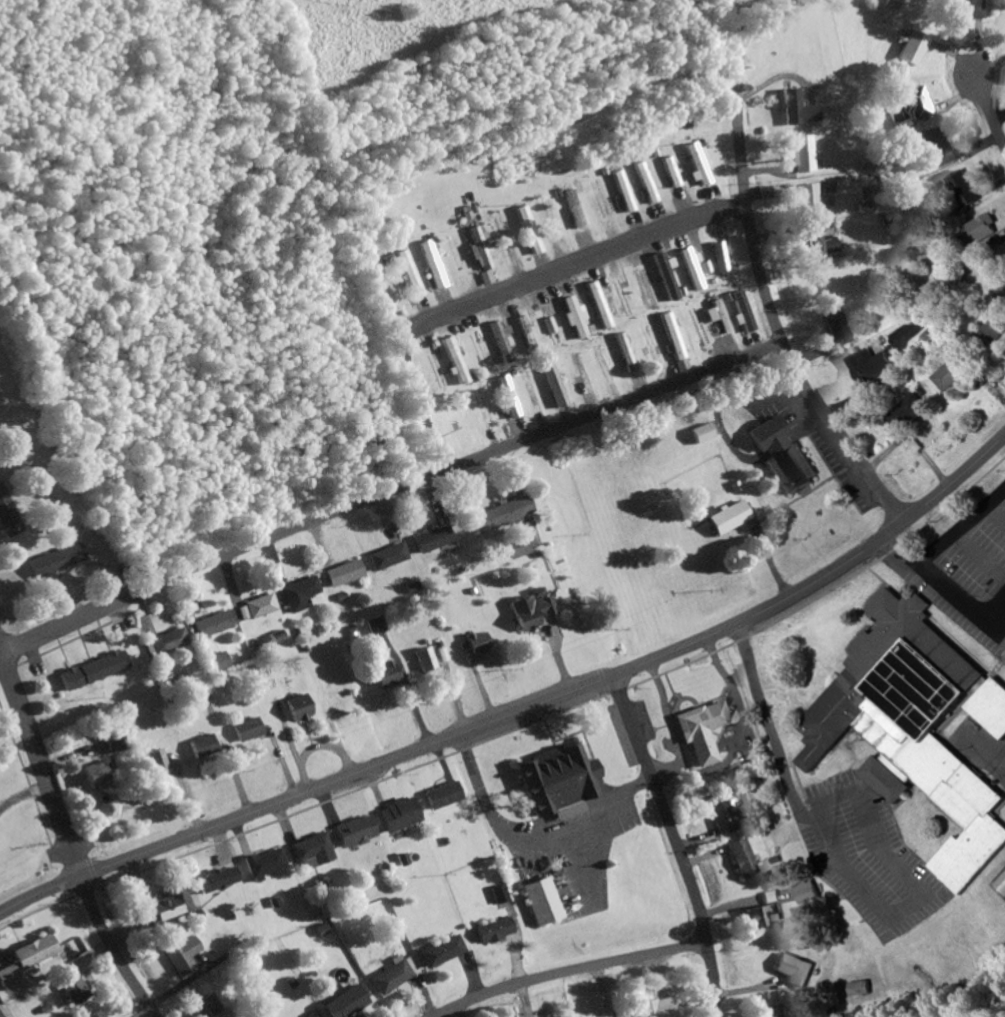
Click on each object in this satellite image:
building: (892, 4)
building: (966, 11)
building: (912, 49)
building: (915, 104)
building: (796, 110)
road: (987, 116)
building: (935, 147)
building: (801, 155)
building: (696, 165)
building: (670, 173)
building: (959, 189)
building: (806, 201)
building: (573, 210)
building: (549, 217)
building: (527, 231)
building: (821, 246)
building: (477, 247)
building: (719, 258)
building: (431, 266)
building: (690, 270)
building: (408, 275)
building: (665, 280)
road: (507, 288)
building: (620, 297)
building: (598, 306)
building: (742, 314)
building: (719, 317)
building: (573, 319)
building: (547, 321)
road: (778, 322)
building: (836, 329)
building: (524, 335)
building: (986, 335)
building: (499, 342)
building: (648, 343)
building: (624, 353)
building: (453, 362)
building: (866, 364)
building: (580, 372)
building: (951, 372)
building: (507, 398)
building: (905, 414)
building: (700, 434)
building: (780, 455)
road: (388, 489)
building: (500, 514)
road: (994, 515)
building: (727, 518)
building: (5, 521)
road: (957, 526)
building: (432, 540)
parking lot: (972, 546)
building: (514, 548)
road: (977, 555)
building: (387, 557)
building: (50, 561)
building: (342, 574)
road: (933, 587)
building: (297, 595)
road: (989, 604)
building: (256, 607)
building: (528, 610)
building: (186, 612)
building: (208, 625)
building: (374, 627)
road: (997, 628)
building: (161, 643)
road: (997, 643)
building: (475, 644)
building: (423, 660)
building: (212, 663)
building: (88, 672)
building: (383, 676)
building: (333, 697)
road: (523, 707)
building: (990, 707)
building: (295, 709)
building: (909, 725)
building: (243, 731)
building: (699, 731)
building: (111, 742)
building: (199, 747)
road: (985, 750)
building: (153, 762)
building: (96, 774)
building: (554, 782)
building: (439, 797)
building: (724, 812)
building: (396, 815)
building: (351, 833)
road: (68, 840)
road: (676, 842)
building: (308, 852)
building: (739, 859)
building: (260, 862)
building: (213, 880)
building: (536, 901)
building: (162, 906)
building: (757, 916)
building: (488, 930)
building: (32, 952)
building: (436, 952)
building: (179, 955)
road: (568, 970)
building: (791, 970)
building: (7, 976)
building: (387, 977)
building: (859, 988)
building: (72, 991)
building: (341, 1003)
building: (210, 1005)
building: (653, 1008)
building: (768, 1011)
building: (94, 1014)
building: (589, 1015)
building: (310, 1016)

